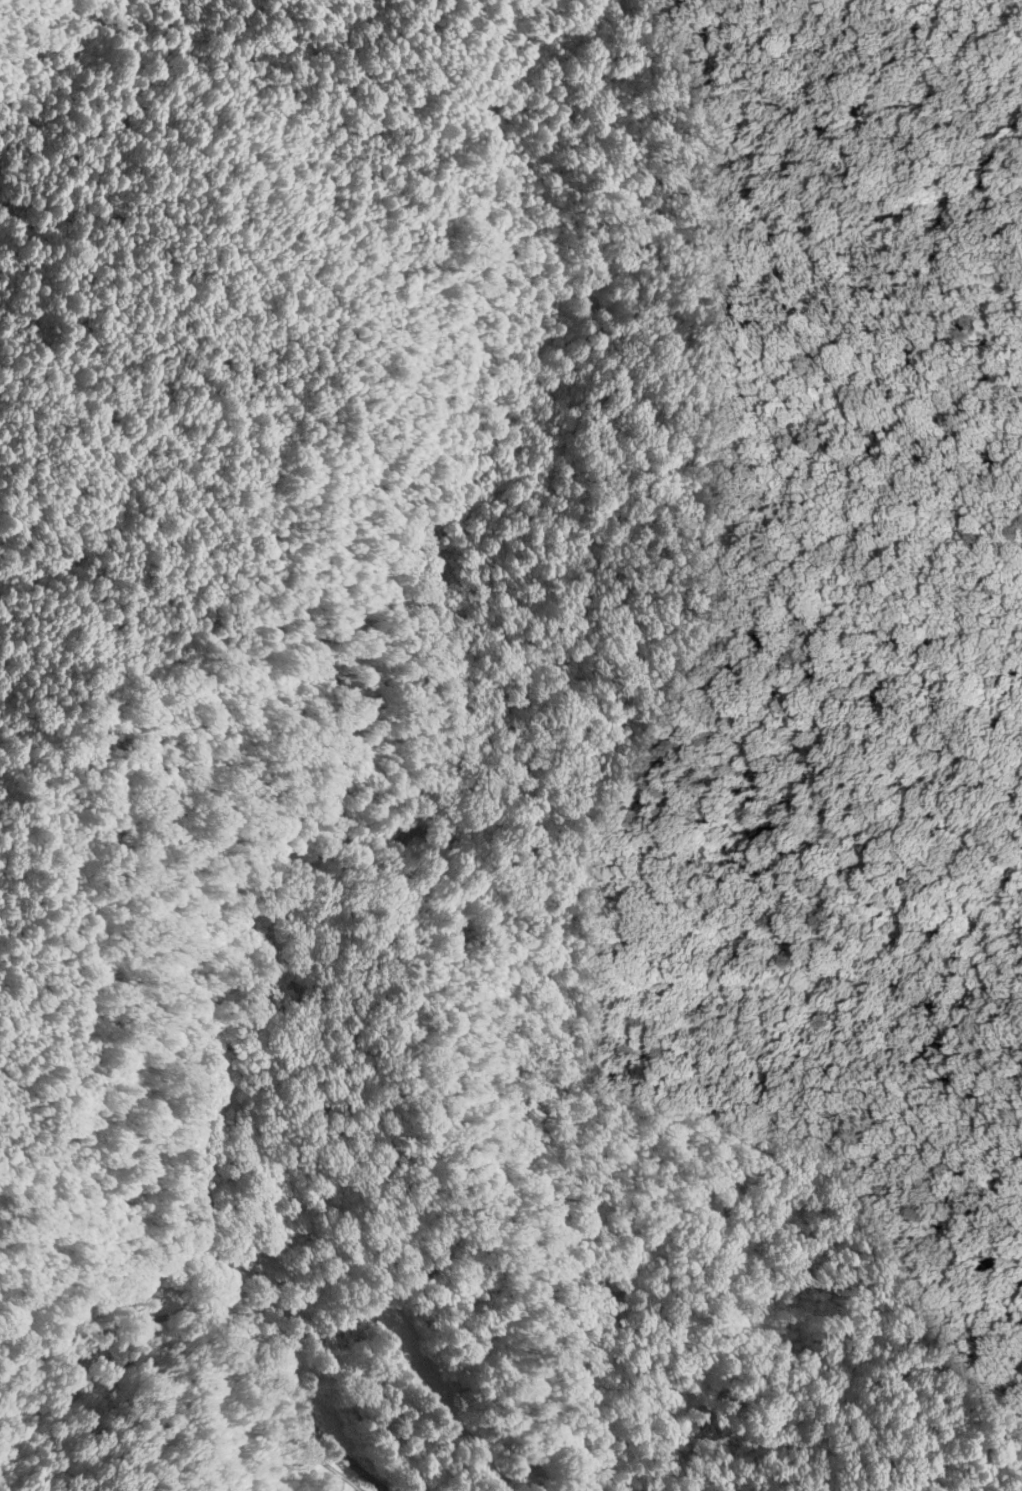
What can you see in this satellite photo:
building: (291, 1463)
building: (335, 1489)

